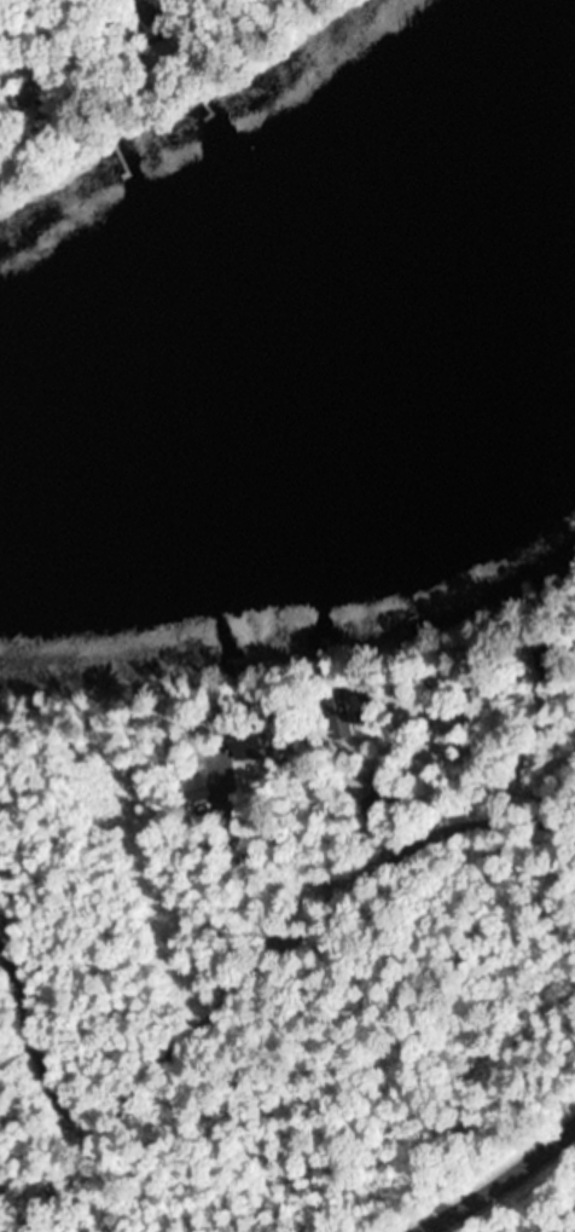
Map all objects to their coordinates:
building: (341, 717)
road: (381, 937)
road: (496, 1180)

